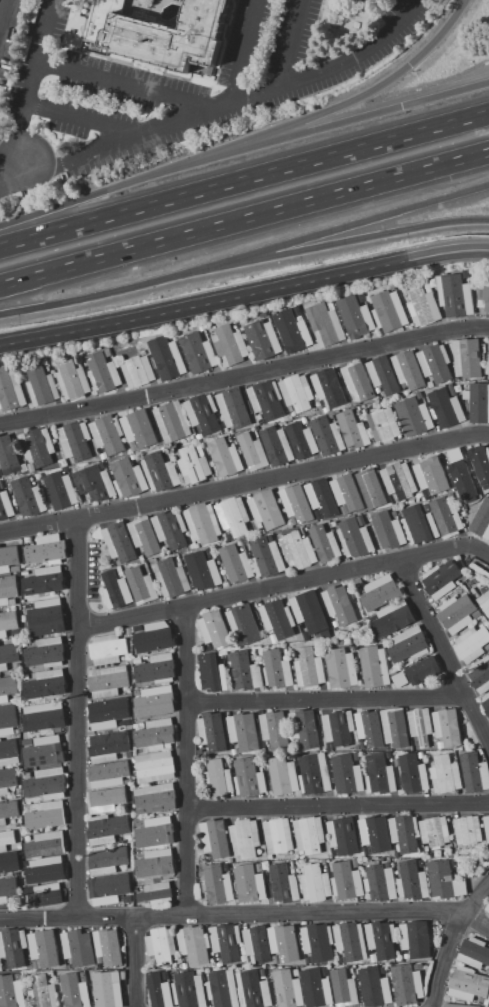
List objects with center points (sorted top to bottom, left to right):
road: (5, 19)
building: (158, 35)
road: (289, 44)
road: (243, 51)
road: (32, 81)
road: (122, 84)
road: (382, 86)
road: (245, 97)
road: (79, 119)
road: (242, 148)
road: (12, 155)
road: (39, 164)
road: (12, 178)
road: (244, 179)
road: (377, 219)
road: (244, 220)
road: (377, 233)
building: (467, 273)
building: (392, 287)
road: (134, 288)
building: (483, 292)
road: (244, 294)
building: (454, 295)
building: (361, 298)
building: (328, 300)
building: (422, 306)
building: (289, 308)
building: (297, 308)
building: (388, 310)
building: (263, 314)
building: (355, 317)
building: (248, 319)
building: (232, 320)
building: (325, 324)
building: (202, 328)
building: (294, 334)
building: (171, 336)
building: (263, 339)
building: (229, 345)
building: (93, 350)
building: (198, 352)
building: (74, 353)
building: (167, 358)
building: (467, 358)
building: (45, 362)
building: (435, 363)
building: (487, 364)
building: (47, 369)
building: (137, 370)
building: (408, 371)
building: (102, 372)
road: (244, 374)
building: (383, 375)
building: (486, 378)
building: (72, 380)
building: (357, 381)
building: (429, 384)
building: (40, 387)
building: (329, 387)
building: (378, 390)
building: (452, 391)
building: (9, 392)
building: (296, 393)
building: (420, 396)
building: (265, 399)
building: (479, 402)
building: (369, 404)
building: (375, 404)
building: (233, 408)
building: (359, 408)
building: (326, 409)
building: (447, 409)
building: (202, 412)
building: (331, 414)
building: (414, 416)
building: (304, 420)
building: (172, 421)
building: (260, 422)
building: (283, 423)
building: (383, 424)
building: (139, 427)
building: (253, 428)
building: (352, 429)
building: (231, 431)
building: (107, 434)
building: (327, 435)
building: (199, 436)
building: (75, 440)
building: (301, 440)
building: (230, 441)
building: (37, 445)
building: (276, 446)
building: (134, 449)
building: (164, 449)
building: (252, 450)
building: (171, 453)
building: (103, 454)
building: (8, 455)
building: (133, 457)
building: (224, 457)
building: (480, 462)
building: (62, 463)
building: (70, 463)
building: (193, 465)
building: (102, 466)
building: (31, 468)
building: (65, 470)
building: (159, 472)
building: (430, 474)
building: (1, 475)
building: (462, 475)
building: (128, 477)
building: (399, 480)
road: (244, 482)
building: (95, 483)
building: (1, 484)
building: (371, 488)
building: (60, 489)
building: (347, 492)
building: (426, 494)
building: (319, 496)
building: (28, 497)
building: (294, 501)
building: (5, 505)
building: (426, 507)
building: (265, 510)
building: (344, 510)
building: (395, 512)
building: (233, 516)
building: (445, 516)
building: (319, 517)
building: (362, 520)
building: (482, 520)
building: (201, 522)
building: (293, 524)
building: (418, 524)
building: (259, 525)
building: (170, 528)
building: (388, 530)
building: (303, 531)
building: (144, 534)
building: (228, 536)
building: (270, 537)
building: (354, 538)
building: (28, 539)
building: (118, 542)
building: (325, 543)
building: (488, 544)
building: (197, 545)
building: (242, 547)
building: (209, 549)
building: (46, 550)
building: (297, 551)
building: (166, 553)
building: (265, 557)
building: (8, 558)
building: (142, 558)
building: (178, 558)
building: (235, 563)
building: (15, 568)
building: (203, 570)
building: (120, 572)
building: (25, 573)
building: (172, 578)
building: (441, 579)
building: (44, 581)
building: (456, 583)
building: (140, 585)
road: (285, 585)
building: (9, 589)
building: (115, 590)
building: (473, 591)
building: (380, 593)
building: (484, 602)
building: (339, 604)
building: (29, 605)
building: (309, 611)
building: (456, 613)
building: (476, 614)
building: (46, 618)
building: (393, 618)
building: (278, 619)
building: (7, 622)
building: (244, 623)
building: (335, 624)
building: (214, 629)
building: (128, 631)
building: (14, 632)
building: (155, 636)
building: (306, 636)
building: (273, 638)
building: (347, 640)
building: (342, 641)
building: (238, 642)
building: (24, 643)
building: (335, 643)
building: (408, 644)
building: (471, 644)
building: (328, 645)
building: (317, 646)
building: (351, 646)
building: (207, 647)
building: (487, 647)
building: (107, 649)
building: (286, 651)
building: (45, 653)
building: (220, 653)
building: (9, 655)
road: (442, 655)
building: (253, 656)
building: (128, 657)
building: (146, 658)
building: (137, 660)
building: (374, 666)
building: (341, 667)
building: (309, 668)
building: (156, 669)
building: (276, 669)
building: (423, 670)
building: (245, 671)
building: (212, 673)
building: (480, 674)
building: (25, 677)
building: (400, 679)
building: (108, 681)
building: (45, 684)
building: (7, 688)
building: (16, 699)
road: (325, 699)
building: (156, 701)
building: (485, 702)
building: (108, 712)
building: (45, 715)
road: (80, 718)
building: (8, 719)
building: (420, 725)
building: (339, 727)
building: (447, 727)
building: (395, 728)
building: (304, 729)
building: (275, 730)
building: (368, 730)
building: (17, 731)
building: (212, 731)
building: (243, 731)
building: (155, 735)
building: (26, 742)
building: (107, 745)
building: (439, 745)
building: (198, 746)
building: (329, 746)
building: (234, 751)
building: (8, 752)
building: (44, 752)
building: (389, 754)
building: (128, 755)
building: (356, 755)
building: (420, 755)
building: (482, 758)
road: (188, 763)
building: (154, 766)
building: (413, 772)
building: (473, 773)
building: (108, 774)
building: (315, 774)
building: (346, 774)
building: (445, 774)
building: (26, 775)
building: (380, 775)
building: (282, 776)
building: (248, 777)
building: (218, 778)
building: (7, 780)
building: (129, 781)
building: (46, 784)
building: (18, 789)
building: (155, 798)
building: (105, 799)
road: (338, 804)
building: (33, 805)
building: (124, 808)
building: (119, 809)
building: (8, 811)
building: (46, 816)
building: (137, 823)
building: (487, 826)
building: (106, 829)
building: (435, 830)
building: (468, 830)
building: (156, 832)
building: (373, 832)
building: (404, 832)
building: (309, 834)
building: (277, 835)
building: (343, 836)
building: (127, 838)
building: (215, 838)
building: (7, 839)
building: (246, 839)
building: (45, 844)
building: (19, 846)
building: (388, 847)
building: (426, 848)
building: (427, 853)
building: (437, 853)
building: (302, 857)
building: (207, 858)
building: (375, 858)
building: (109, 859)
building: (382, 859)
building: (230, 860)
building: (323, 860)
building: (9, 861)
building: (156, 863)
building: (357, 863)
building: (388, 863)
building: (455, 863)
building: (259, 864)
building: (422, 864)
building: (225, 866)
building: (324, 866)
building: (291, 868)
building: (45, 869)
building: (15, 874)
building: (346, 880)
building: (443, 880)
building: (412, 881)
building: (283, 883)
building: (315, 883)
building: (381, 883)
building: (218, 884)
building: (251, 884)
building: (8, 888)
building: (105, 889)
building: (156, 893)
building: (45, 896)
building: (486, 907)
road: (232, 918)
road: (477, 921)
building: (286, 938)
building: (381, 938)
building: (415, 939)
building: (350, 941)
road: (451, 941)
building: (226, 942)
building: (317, 942)
building: (194, 944)
building: (257, 944)
building: (107, 945)
building: (161, 945)
building: (13, 947)
building: (78, 947)
building: (45, 948)
building: (474, 952)
building: (405, 955)
building: (243, 958)
building: (374, 958)
building: (341, 959)
building: (99, 960)
building: (309, 960)
road: (137, 963)
building: (278, 963)
building: (218, 965)
building: (35, 966)
building: (184, 966)
building: (418, 966)
building: (68, 967)
building: (325, 967)
building: (262, 969)
building: (384, 969)
building: (350, 970)
building: (199, 971)
building: (487, 971)
building: (163, 972)
building: (296, 972)
building: (49, 973)
building: (18, 975)
building: (124, 978)
building: (406, 984)
building: (467, 984)
building: (374, 987)
building: (317, 988)
building: (343, 988)
building: (222, 989)
building: (252, 989)
building: (288, 989)
building: (106, 990)
building: (189, 990)
building: (11, 992)
building: (42, 993)
building: (75, 993)
building: (160, 993)
building: (486, 1002)
building: (463, 1005)

